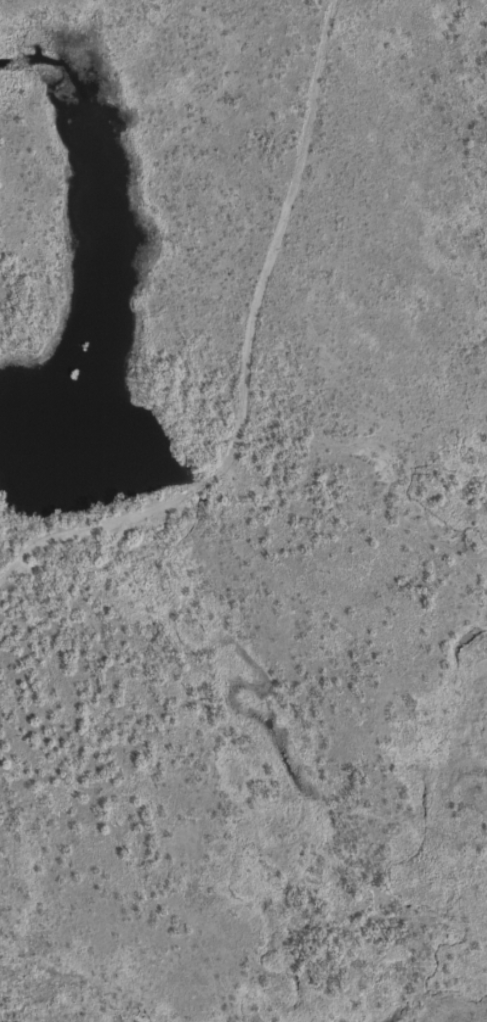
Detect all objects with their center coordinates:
road: (196, 513)

